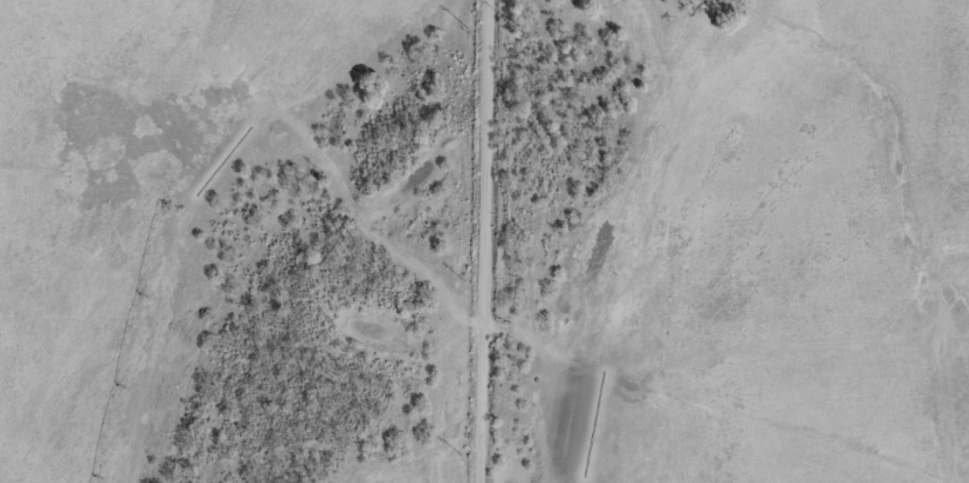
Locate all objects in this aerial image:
road: (486, 241)

